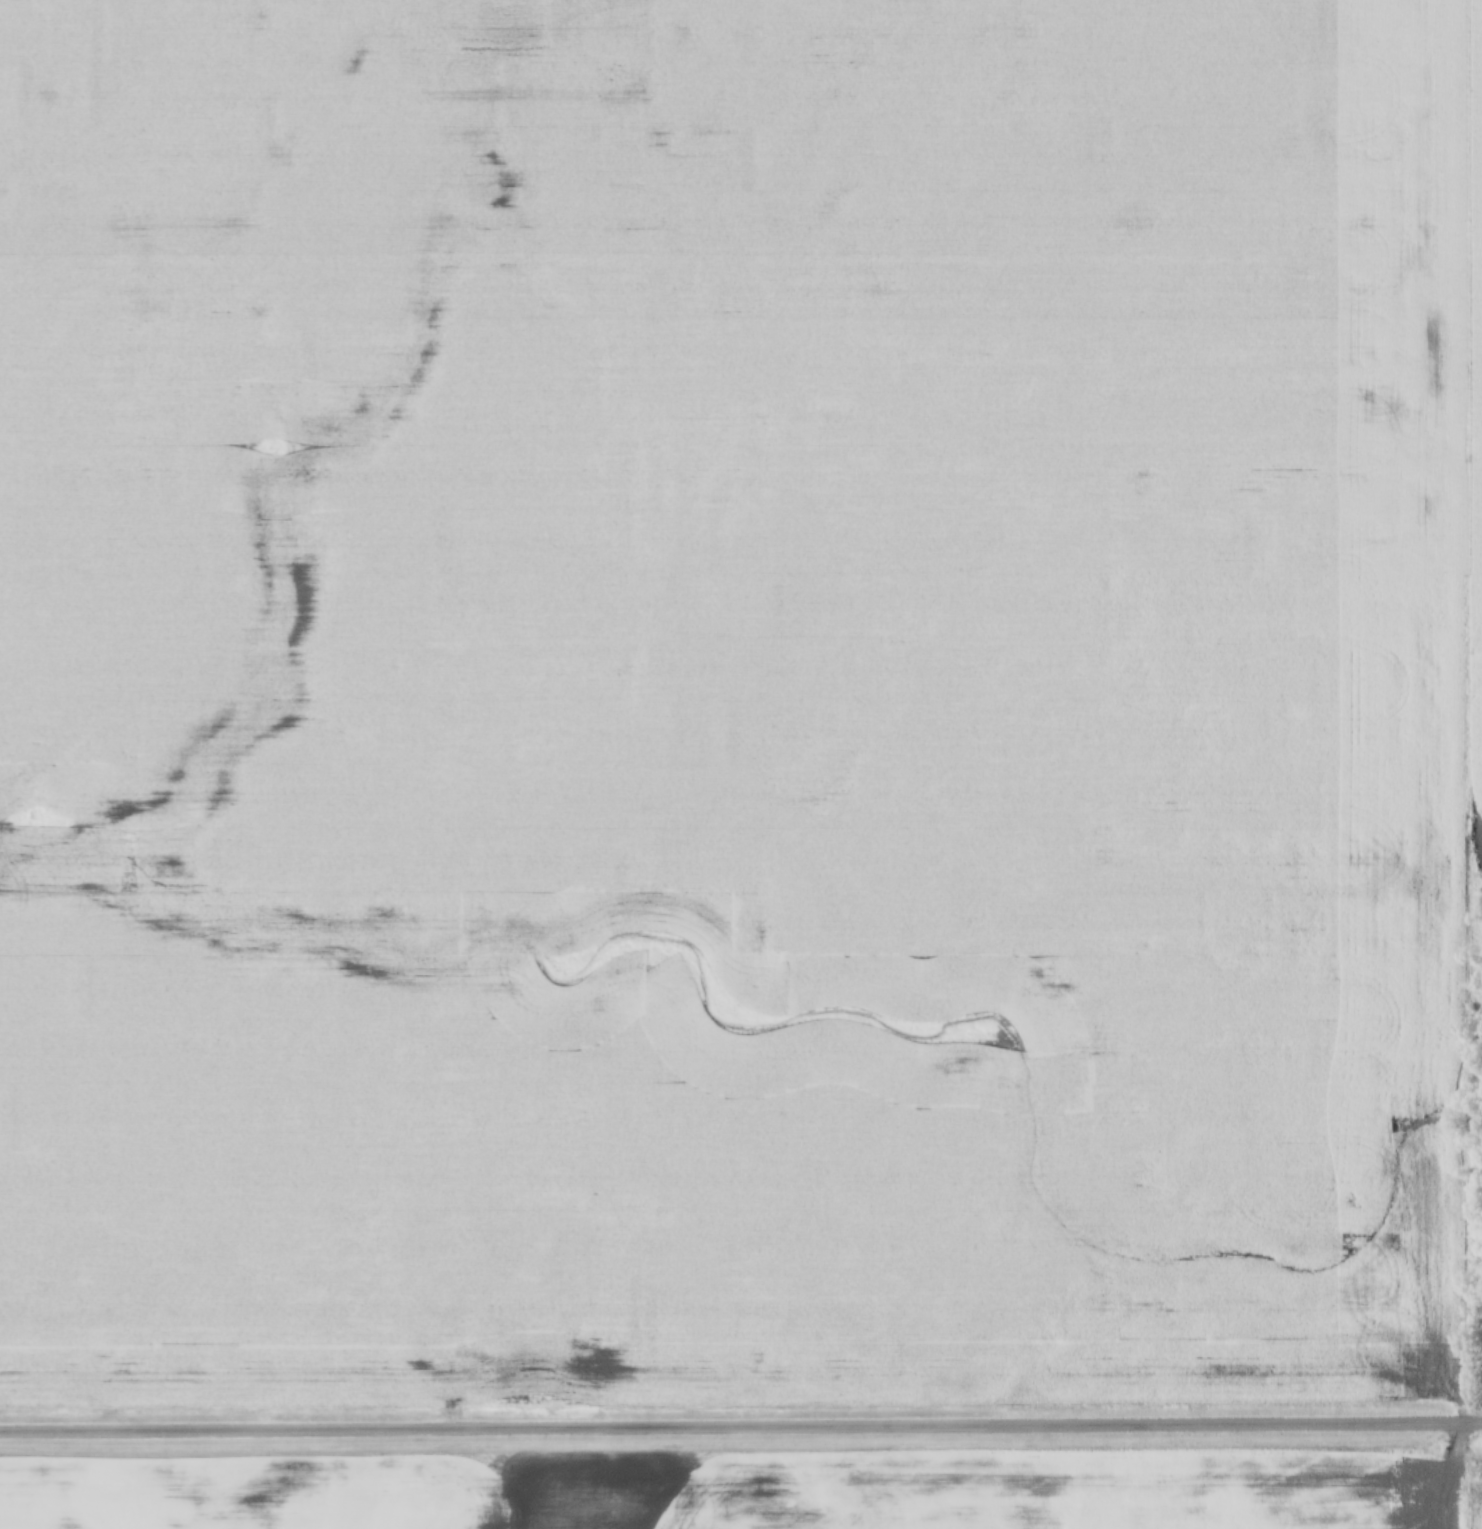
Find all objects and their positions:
road: (741, 1427)

